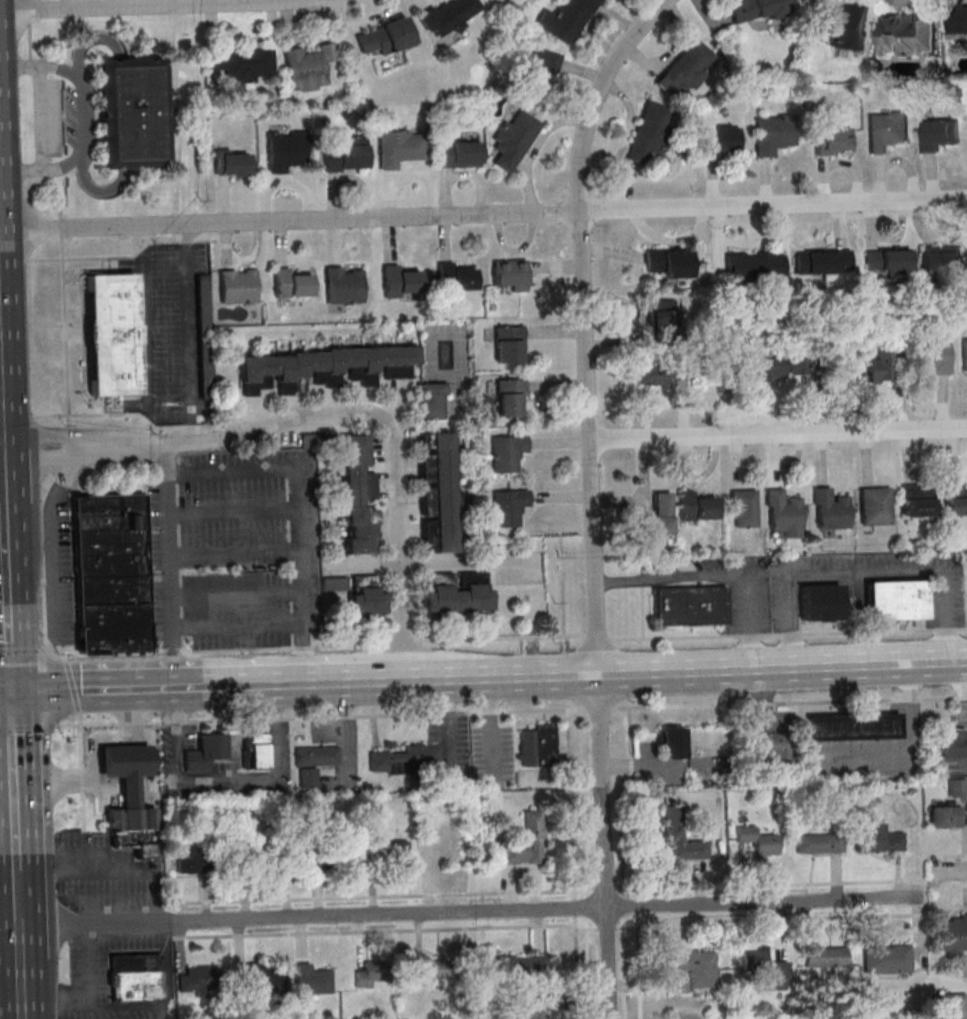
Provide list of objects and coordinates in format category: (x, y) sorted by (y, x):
road: (153, 6)
road: (175, 8)
building: (756, 9)
road: (29, 13)
building: (449, 16)
building: (565, 20)
building: (959, 20)
building: (843, 25)
building: (908, 33)
building: (384, 36)
road: (30, 42)
building: (242, 63)
building: (543, 65)
building: (308, 66)
road: (33, 67)
building: (685, 68)
building: (130, 113)
road: (178, 114)
road: (37, 117)
road: (85, 117)
building: (887, 129)
building: (650, 132)
building: (773, 133)
building: (939, 134)
building: (514, 139)
building: (833, 140)
building: (719, 141)
building: (400, 147)
building: (284, 150)
building: (458, 154)
building: (346, 155)
building: (231, 163)
road: (44, 166)
road: (58, 196)
road: (483, 215)
road: (176, 219)
road: (60, 227)
road: (184, 231)
road: (120, 256)
building: (887, 261)
building: (941, 261)
building: (667, 262)
building: (823, 262)
building: (755, 267)
building: (509, 275)
building: (455, 277)
building: (400, 281)
building: (291, 284)
building: (237, 285)
building: (343, 285)
building: (203, 304)
building: (661, 318)
road: (584, 326)
road: (64, 331)
building: (109, 333)
parking lot: (173, 334)
building: (508, 344)
building: (964, 355)
building: (934, 356)
building: (779, 366)
building: (880, 366)
building: (323, 368)
building: (207, 374)
building: (661, 374)
road: (2, 397)
building: (511, 397)
building: (432, 401)
road: (286, 409)
road: (1, 410)
road: (162, 413)
road: (364, 414)
road: (369, 421)
road: (778, 435)
road: (45, 440)
road: (2, 450)
building: (507, 452)
road: (46, 454)
road: (71, 470)
road: (5, 472)
road: (2, 473)
road: (294, 484)
building: (437, 492)
building: (358, 496)
building: (956, 499)
building: (916, 502)
building: (875, 505)
building: (697, 506)
building: (508, 507)
building: (743, 508)
building: (830, 509)
road: (233, 514)
building: (783, 514)
building: (657, 516)
road: (6, 523)
road: (3, 543)
road: (234, 557)
road: (409, 560)
road: (391, 561)
road: (427, 561)
road: (170, 565)
road: (54, 568)
road: (867, 572)
building: (110, 574)
road: (719, 576)
building: (359, 592)
building: (456, 592)
road: (562, 594)
road: (235, 595)
building: (896, 599)
building: (820, 602)
building: (690, 605)
road: (392, 606)
road: (411, 607)
road: (641, 613)
road: (8, 623)
road: (236, 626)
road: (788, 634)
road: (598, 637)
road: (502, 638)
road: (403, 640)
road: (33, 642)
road: (351, 644)
road: (304, 647)
road: (59, 649)
road: (237, 649)
road: (23, 650)
road: (64, 654)
road: (304, 654)
road: (653, 675)
road: (292, 684)
road: (73, 685)
road: (227, 686)
road: (109, 690)
road: (5, 695)
traffic signals: (10, 695)
road: (273, 699)
road: (789, 702)
road: (598, 708)
road: (321, 718)
building: (853, 726)
road: (29, 727)
building: (953, 742)
building: (672, 743)
road: (276, 745)
building: (537, 746)
building: (772, 748)
building: (257, 750)
building: (205, 752)
road: (93, 756)
building: (408, 757)
building: (314, 762)
road: (82, 769)
building: (125, 769)
road: (179, 777)
road: (14, 782)
building: (957, 787)
road: (633, 802)
road: (571, 804)
building: (945, 816)
building: (129, 819)
building: (681, 835)
building: (876, 838)
building: (526, 842)
building: (758, 842)
building: (818, 843)
road: (604, 848)
building: (355, 851)
building: (298, 853)
building: (250, 854)
building: (400, 854)
road: (952, 855)
building: (195, 859)
road: (950, 872)
road: (780, 883)
road: (954, 885)
road: (17, 892)
road: (9, 893)
road: (401, 895)
road: (637, 906)
road: (575, 907)
road: (469, 913)
road: (770, 917)
road: (606, 929)
road: (385, 930)
building: (954, 934)
road: (19, 939)
building: (885, 956)
building: (823, 957)
building: (519, 964)
road: (638, 966)
road: (576, 967)
building: (435, 969)
building: (693, 970)
building: (763, 971)
building: (369, 973)
building: (135, 977)
building: (262, 978)
building: (310, 979)
building: (200, 981)
road: (10, 987)
road: (21, 991)
building: (949, 1006)
building: (535, 1008)

